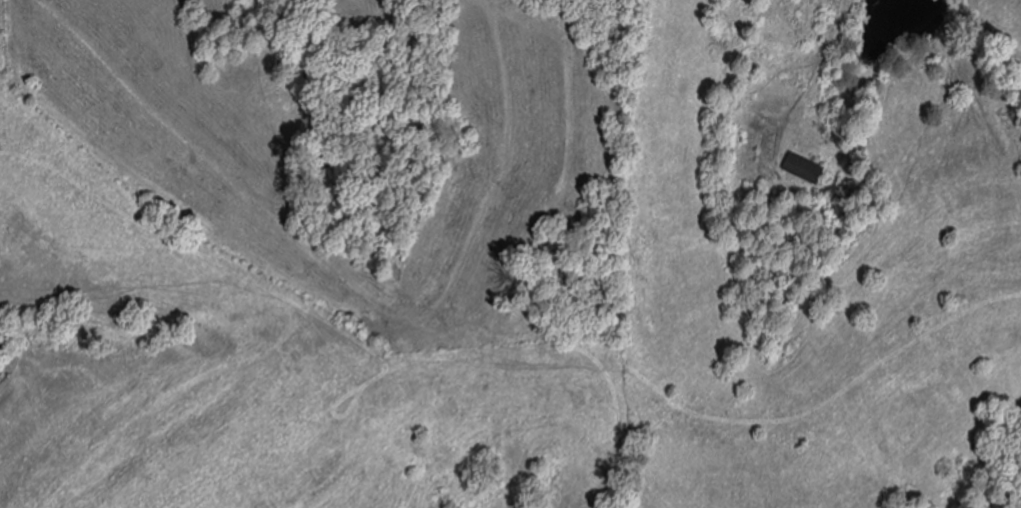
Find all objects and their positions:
building: (804, 170)

